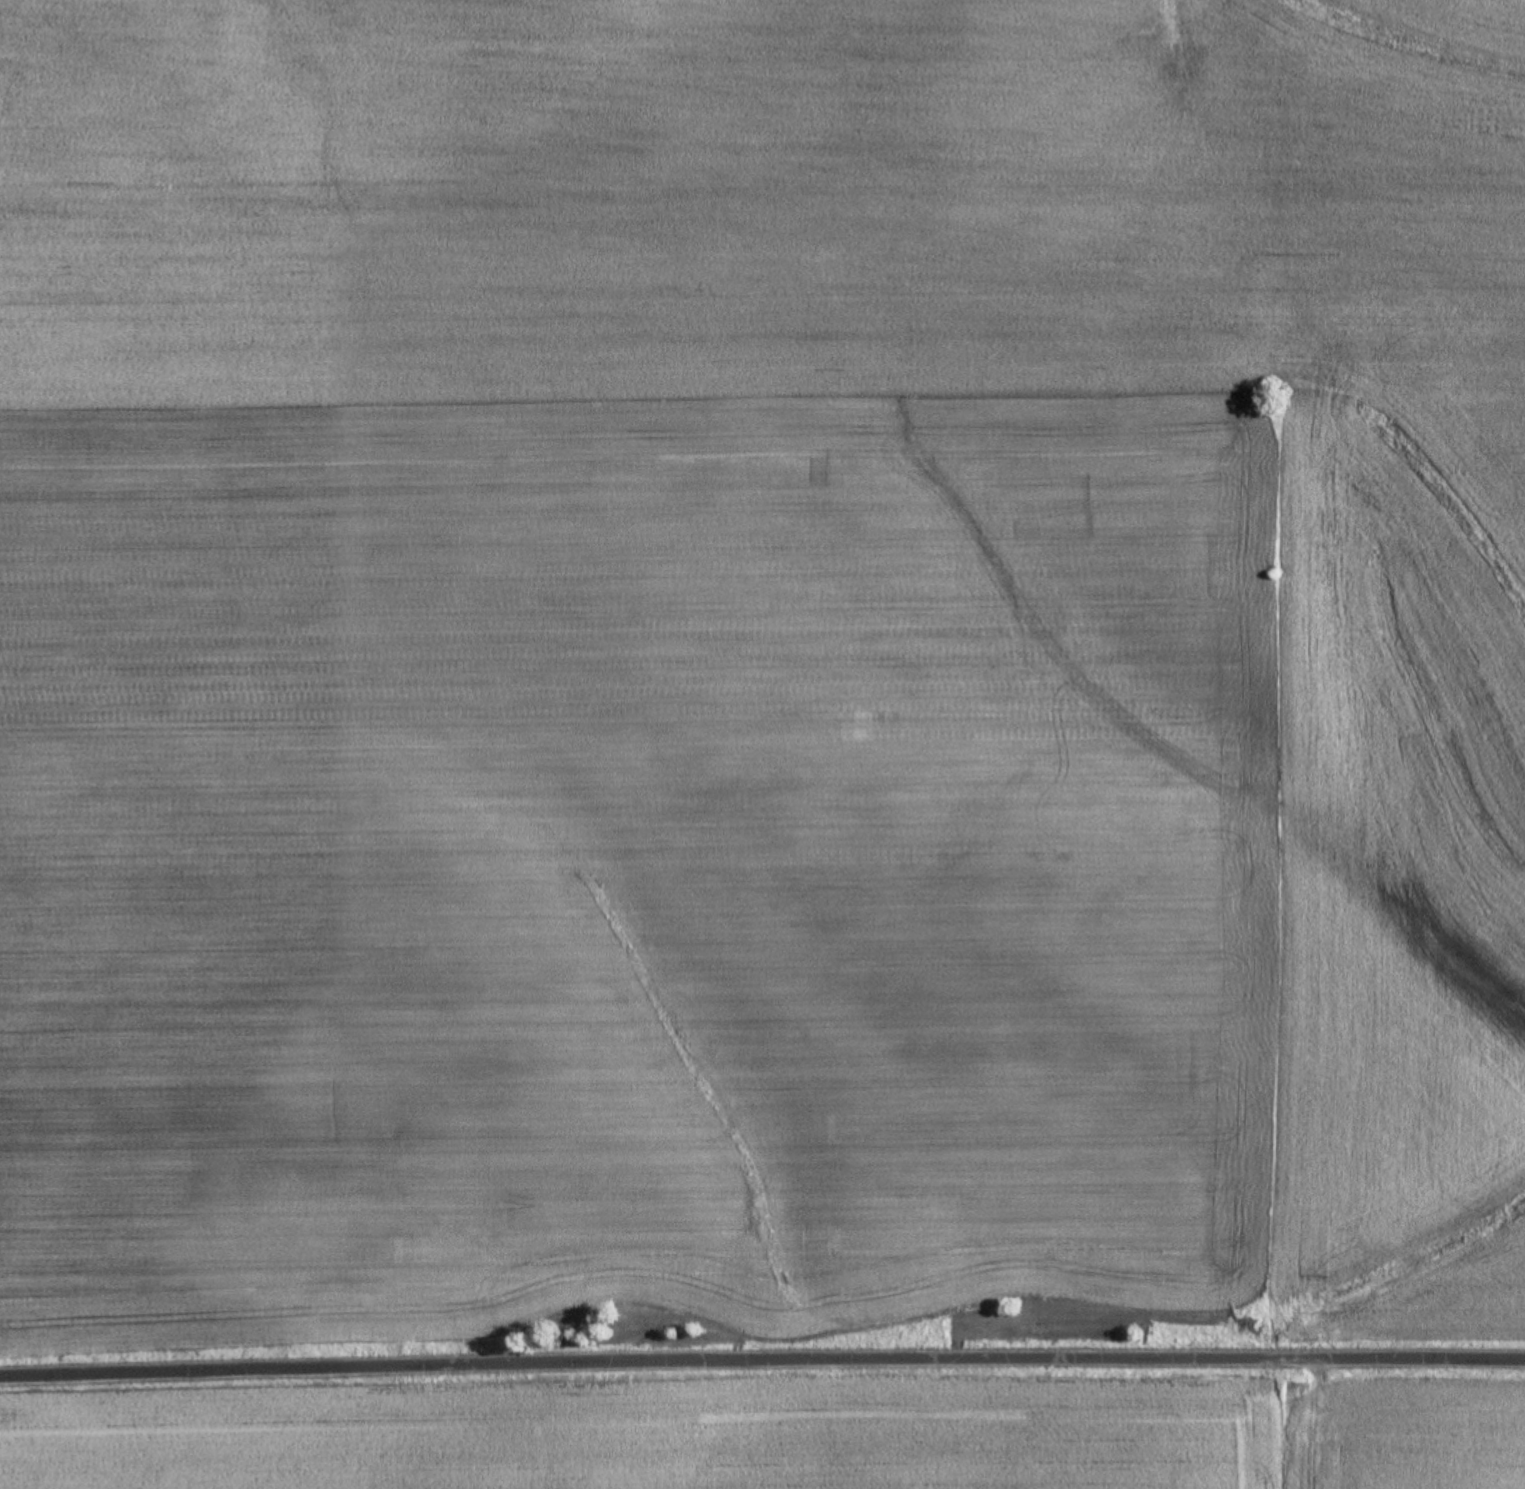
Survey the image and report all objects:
road: (762, 1353)

